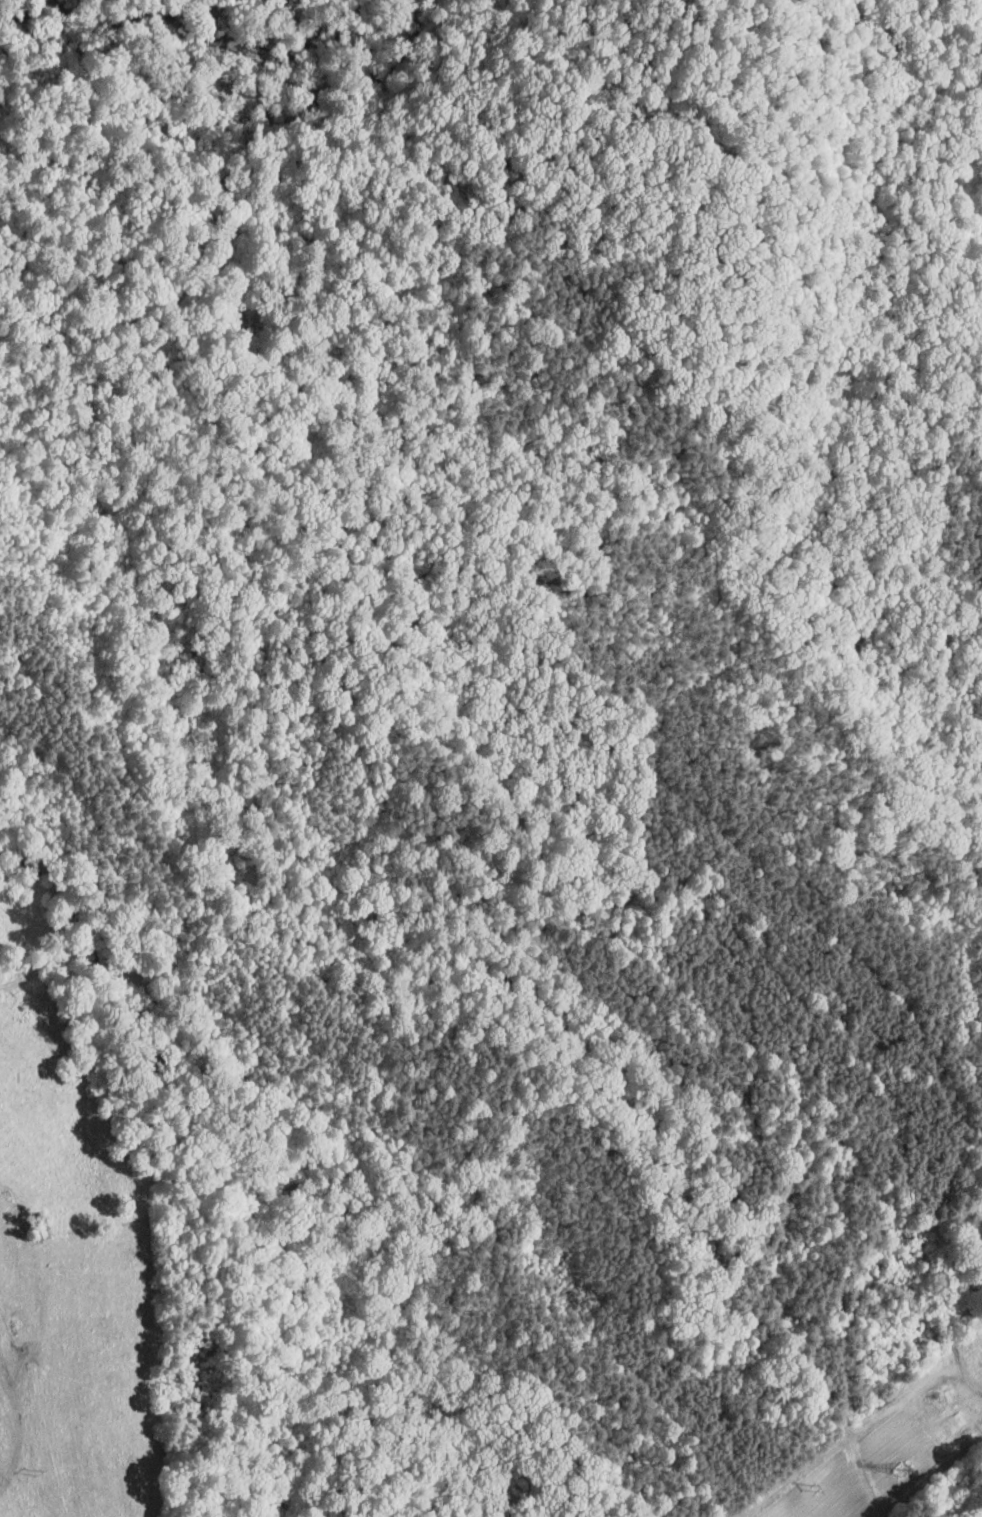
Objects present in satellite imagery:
road: (18, 1422)
power tower: (906, 1471)

